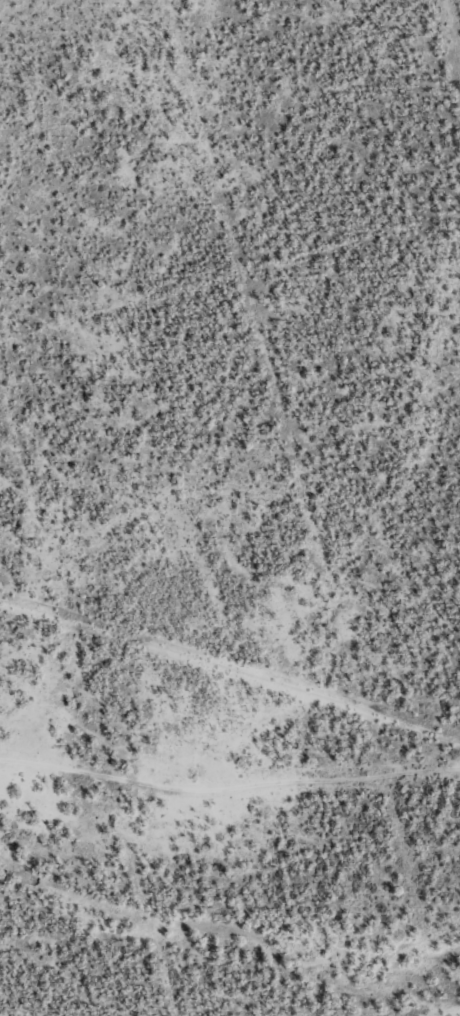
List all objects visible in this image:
road: (47, 790)

